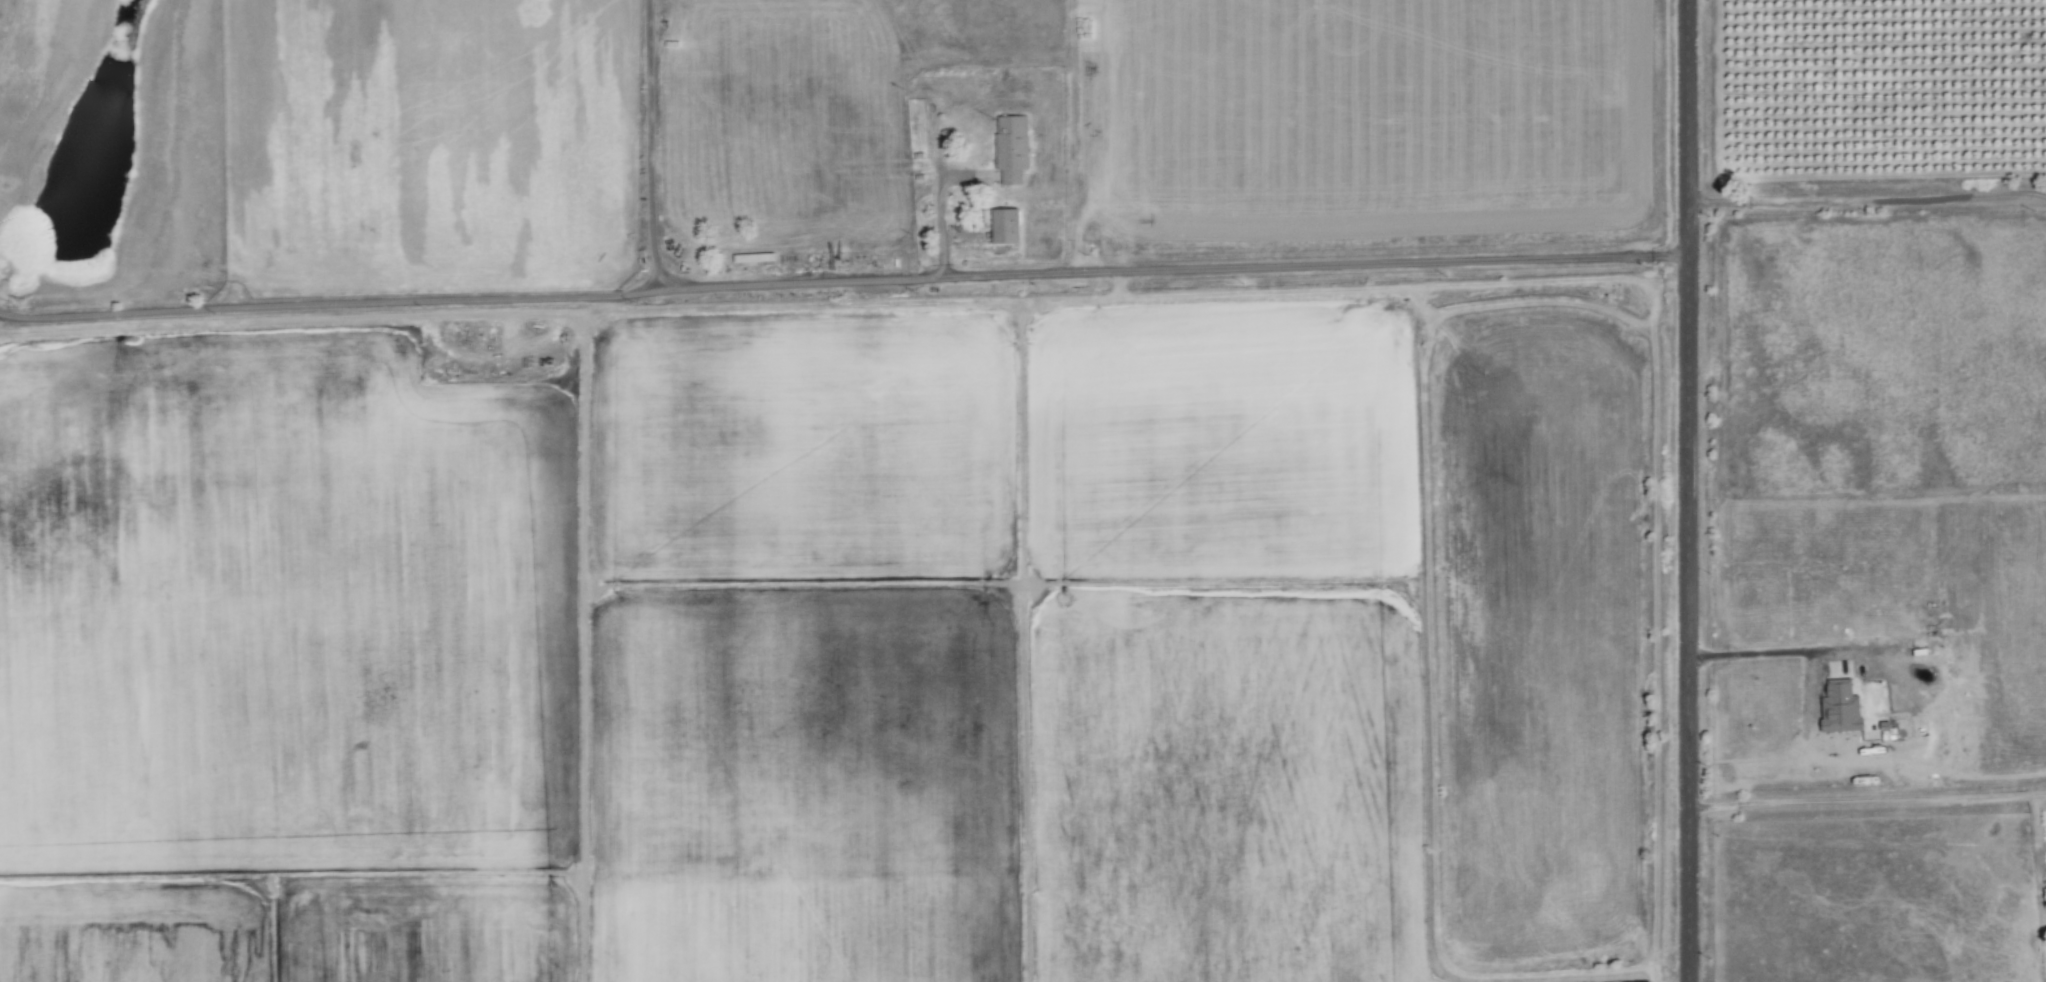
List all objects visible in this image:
road: (650, 147)
building: (1013, 149)
building: (1008, 227)
road: (1866, 244)
building: (756, 259)
road: (844, 287)
road: (1, 315)
road: (1688, 491)
road: (1868, 797)

